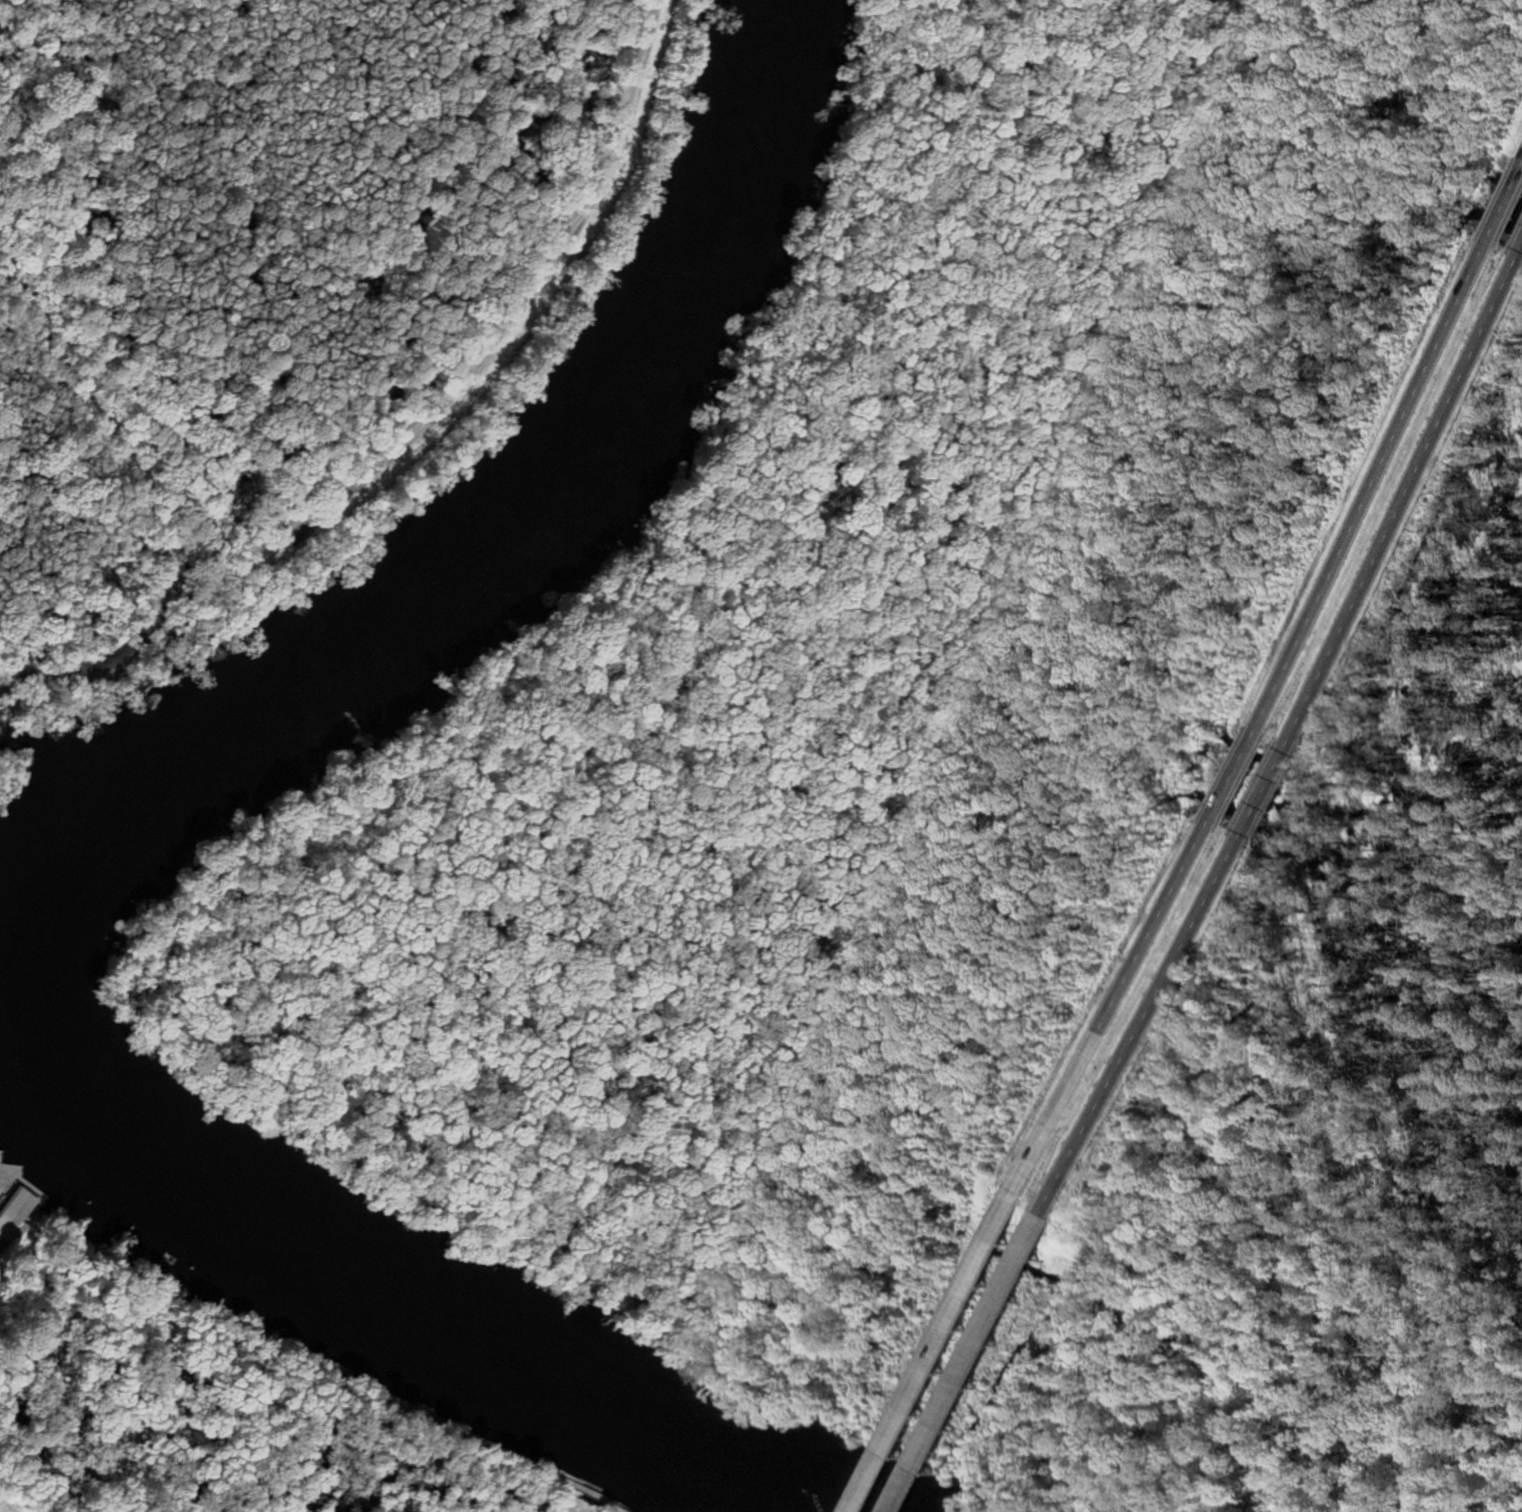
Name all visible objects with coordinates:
road: (1505, 202)
road: (1520, 250)
road: (90, 435)
road: (434, 437)
road: (1372, 488)
road: (1401, 504)
road: (1233, 780)
road: (1264, 795)
river: (64, 828)
road: (1118, 1010)
road: (1148, 1027)
building: (18, 1213)
road: (943, 1355)
road: (976, 1365)
building: (1520, 1425)

